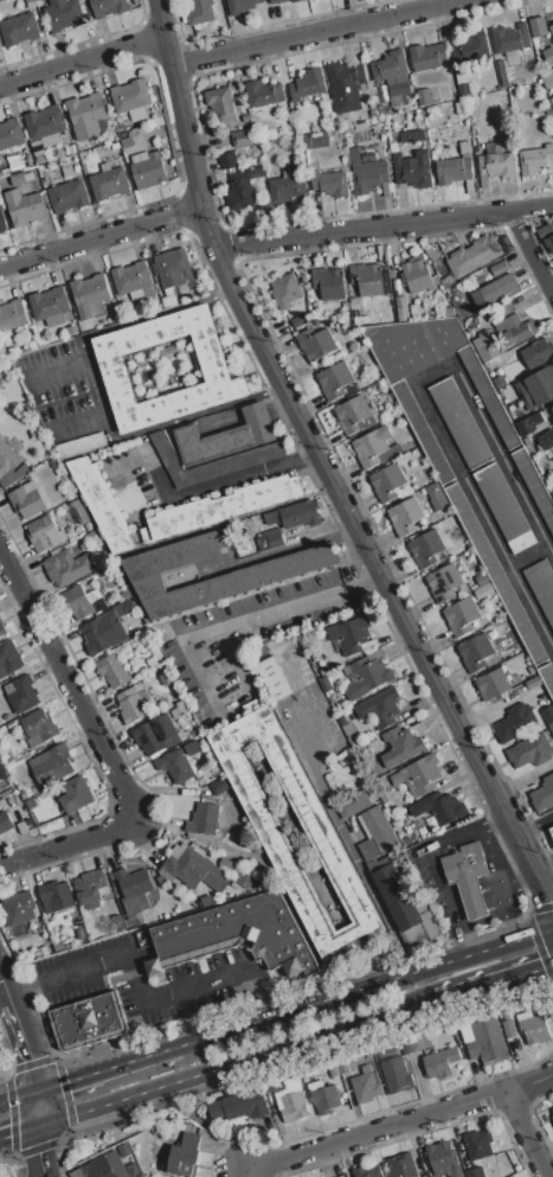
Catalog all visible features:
building: (296, 0)
building: (275, 1)
building: (240, 6)
building: (109, 7)
building: (199, 11)
building: (63, 14)
building: (538, 26)
building: (19, 28)
building: (552, 28)
road: (328, 31)
building: (523, 33)
building: (506, 38)
building: (471, 47)
building: (548, 55)
building: (427, 56)
road: (81, 60)
building: (392, 72)
building: (503, 73)
building: (547, 78)
building: (307, 84)
building: (346, 85)
building: (463, 89)
building: (264, 92)
building: (424, 96)
building: (131, 98)
building: (551, 101)
building: (220, 104)
building: (86, 114)
building: (46, 124)
building: (11, 133)
building: (412, 135)
building: (240, 137)
building: (316, 139)
building: (127, 142)
building: (535, 159)
building: (226, 160)
building: (18, 165)
building: (495, 165)
building: (455, 167)
building: (148, 168)
building: (412, 168)
building: (67, 169)
building: (255, 172)
building: (367, 173)
building: (18, 178)
building: (109, 181)
building: (289, 183)
building: (330, 183)
building: (240, 193)
building: (67, 196)
building: (24, 206)
building: (2, 222)
road: (381, 228)
building: (545, 230)
road: (99, 237)
building: (549, 242)
road: (531, 254)
building: (474, 255)
building: (439, 266)
building: (172, 267)
building: (499, 268)
building: (417, 274)
building: (130, 276)
building: (366, 279)
building: (324, 284)
building: (500, 288)
building: (285, 290)
building: (90, 295)
building: (51, 305)
building: (506, 308)
building: (12, 314)
road: (154, 314)
building: (300, 320)
building: (71, 330)
building: (513, 330)
building: (486, 338)
building: (316, 343)
building: (488, 352)
building: (536, 353)
building: (112, 365)
building: (336, 379)
building: (499, 380)
building: (536, 388)
road: (94, 389)
road: (426, 402)
building: (552, 405)
road: (197, 411)
building: (354, 414)
building: (259, 422)
building: (528, 423)
building: (546, 439)
building: (212, 443)
building: (81, 446)
building: (377, 446)
road: (302, 456)
building: (7, 458)
building: (210, 461)
road: (324, 467)
building: (477, 468)
building: (387, 482)
road: (188, 490)
building: (436, 495)
building: (27, 499)
building: (103, 504)
building: (224, 507)
building: (79, 511)
building: (301, 513)
building: (403, 514)
building: (43, 533)
building: (91, 537)
building: (269, 539)
building: (426, 549)
road: (282, 550)
road: (527, 556)
building: (66, 567)
road: (369, 580)
building: (237, 582)
building: (443, 582)
building: (483, 589)
building: (82, 602)
building: (462, 616)
building: (0, 621)
building: (1, 631)
building: (103, 632)
building: (353, 634)
road: (181, 648)
building: (477, 653)
building: (9, 657)
building: (112, 670)
building: (167, 677)
building: (367, 677)
building: (274, 678)
building: (534, 682)
building: (493, 684)
building: (21, 692)
building: (134, 702)
building: (380, 708)
building: (547, 714)
building: (342, 719)
building: (516, 722)
building: (39, 727)
building: (163, 727)
building: (551, 727)
building: (351, 734)
building: (148, 737)
building: (400, 746)
building: (193, 747)
building: (531, 749)
road: (103, 750)
building: (52, 765)
building: (174, 765)
building: (2, 770)
building: (420, 774)
building: (544, 793)
building: (76, 794)
building: (354, 806)
building: (439, 806)
building: (202, 819)
building: (5, 823)
road: (532, 823)
road: (463, 831)
building: (551, 831)
building: (375, 833)
building: (322, 834)
road: (353, 851)
building: (192, 869)
road: (435, 874)
building: (468, 876)
building: (243, 878)
road: (507, 882)
road: (547, 887)
building: (91, 888)
building: (134, 889)
building: (394, 893)
road: (470, 893)
building: (56, 895)
road: (451, 897)
traffic signals: (546, 900)
building: (19, 907)
road: (454, 927)
building: (420, 929)
building: (239, 934)
building: (154, 966)
traffic signals: (539, 968)
road: (493, 983)
road: (365, 986)
road: (4, 987)
road: (141, 993)
building: (89, 1021)
building: (509, 1028)
building: (534, 1029)
building: (416, 1041)
building: (487, 1041)
road: (24, 1042)
building: (405, 1044)
traffic signals: (30, 1058)
road: (234, 1062)
building: (351, 1062)
building: (441, 1062)
building: (342, 1064)
building: (333, 1067)
road: (107, 1068)
building: (396, 1075)
traffic signals: (66, 1081)
road: (533, 1082)
building: (271, 1083)
building: (367, 1085)
road: (17, 1096)
building: (326, 1098)
building: (291, 1100)
building: (240, 1105)
building: (551, 1112)
road: (19, 1131)
road: (40, 1133)
road: (377, 1133)
road: (533, 1133)
traffic signals: (7, 1136)
building: (478, 1144)
building: (124, 1150)
traffic signals: (43, 1151)
building: (182, 1156)
building: (444, 1159)
building: (401, 1166)
building: (109, 1168)
building: (368, 1171)
building: (475, 1172)
building: (334, 1176)

